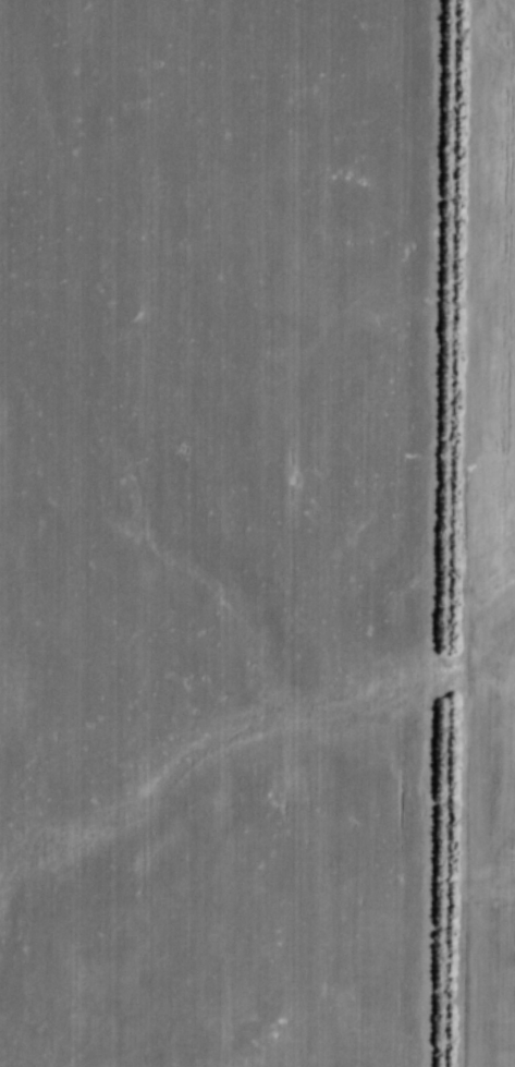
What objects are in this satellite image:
crop: (485, 225)
crop: (212, 532)
crop: (486, 827)

